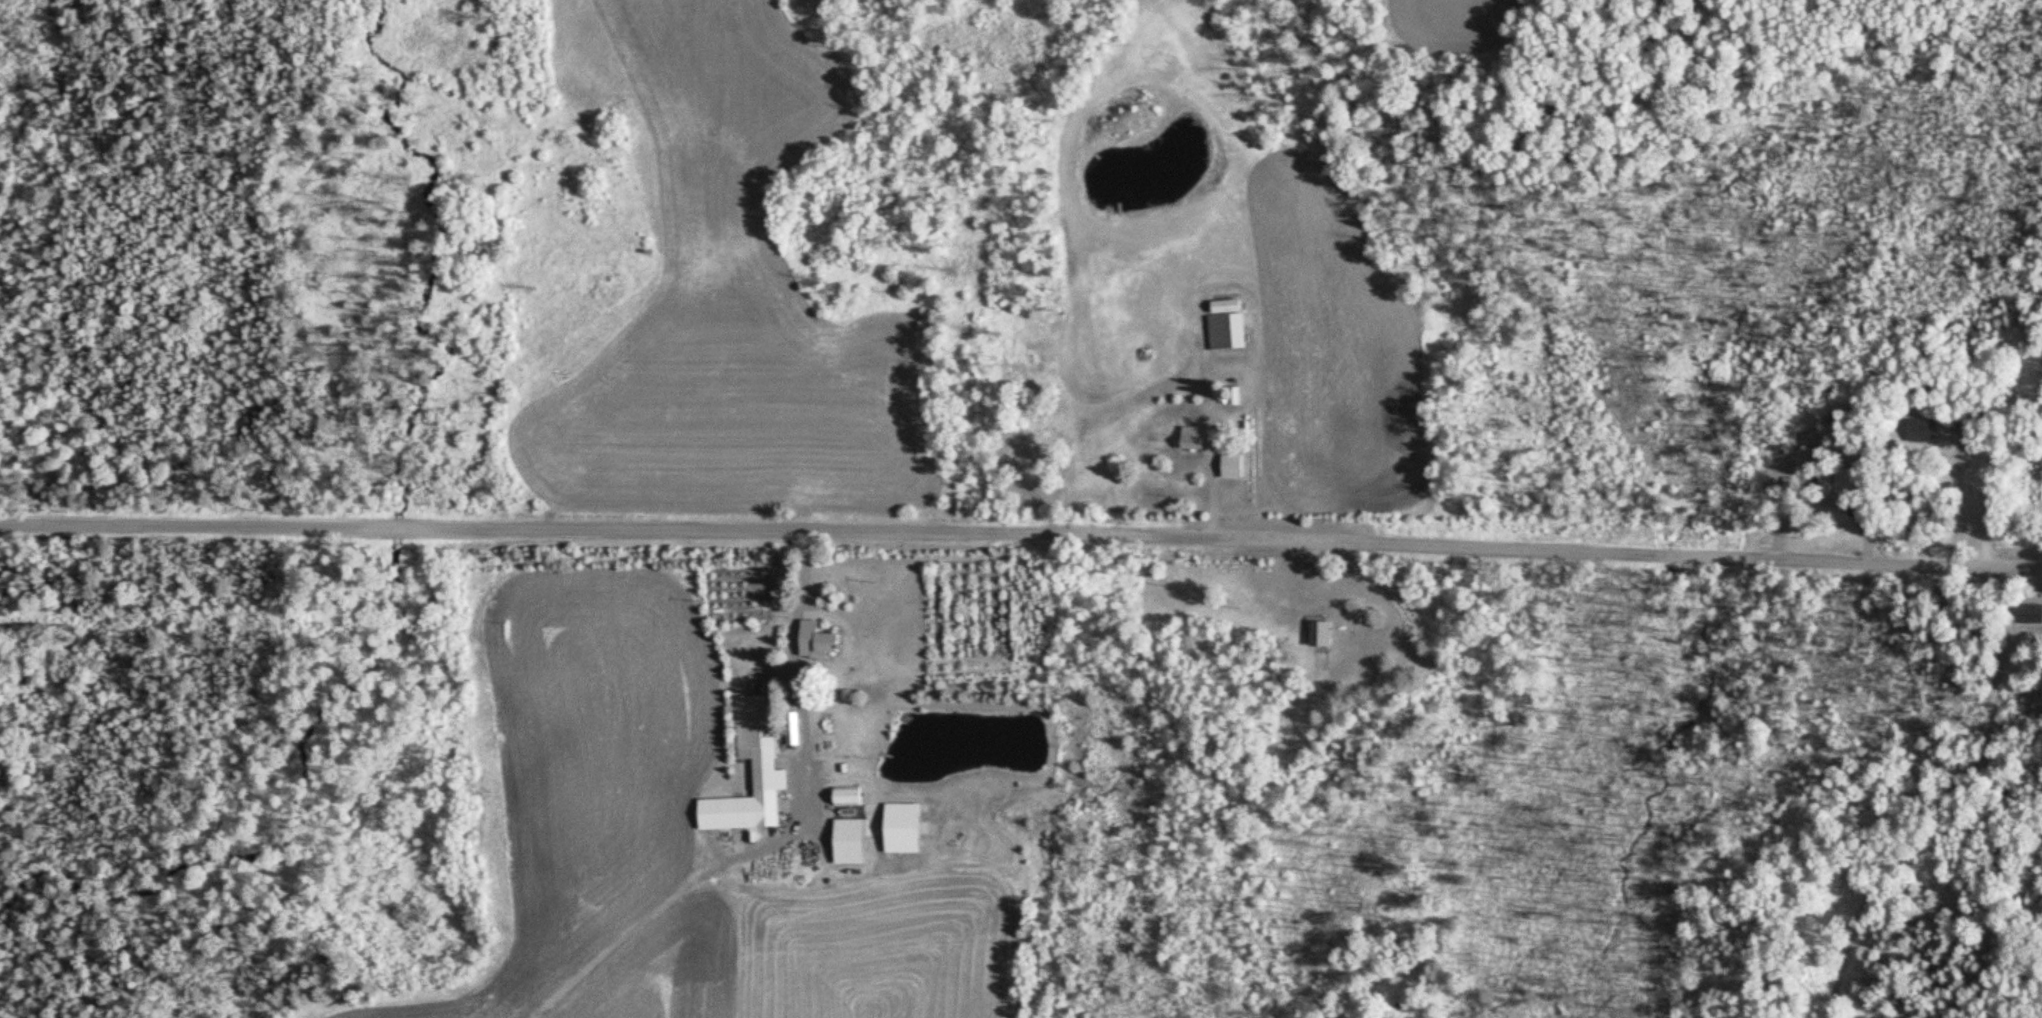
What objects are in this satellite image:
building: (1234, 324)
building: (1917, 429)
building: (1200, 437)
building: (1774, 475)
road: (1021, 535)
building: (2027, 612)
building: (1314, 626)
building: (829, 643)
building: (767, 752)
building: (858, 840)

